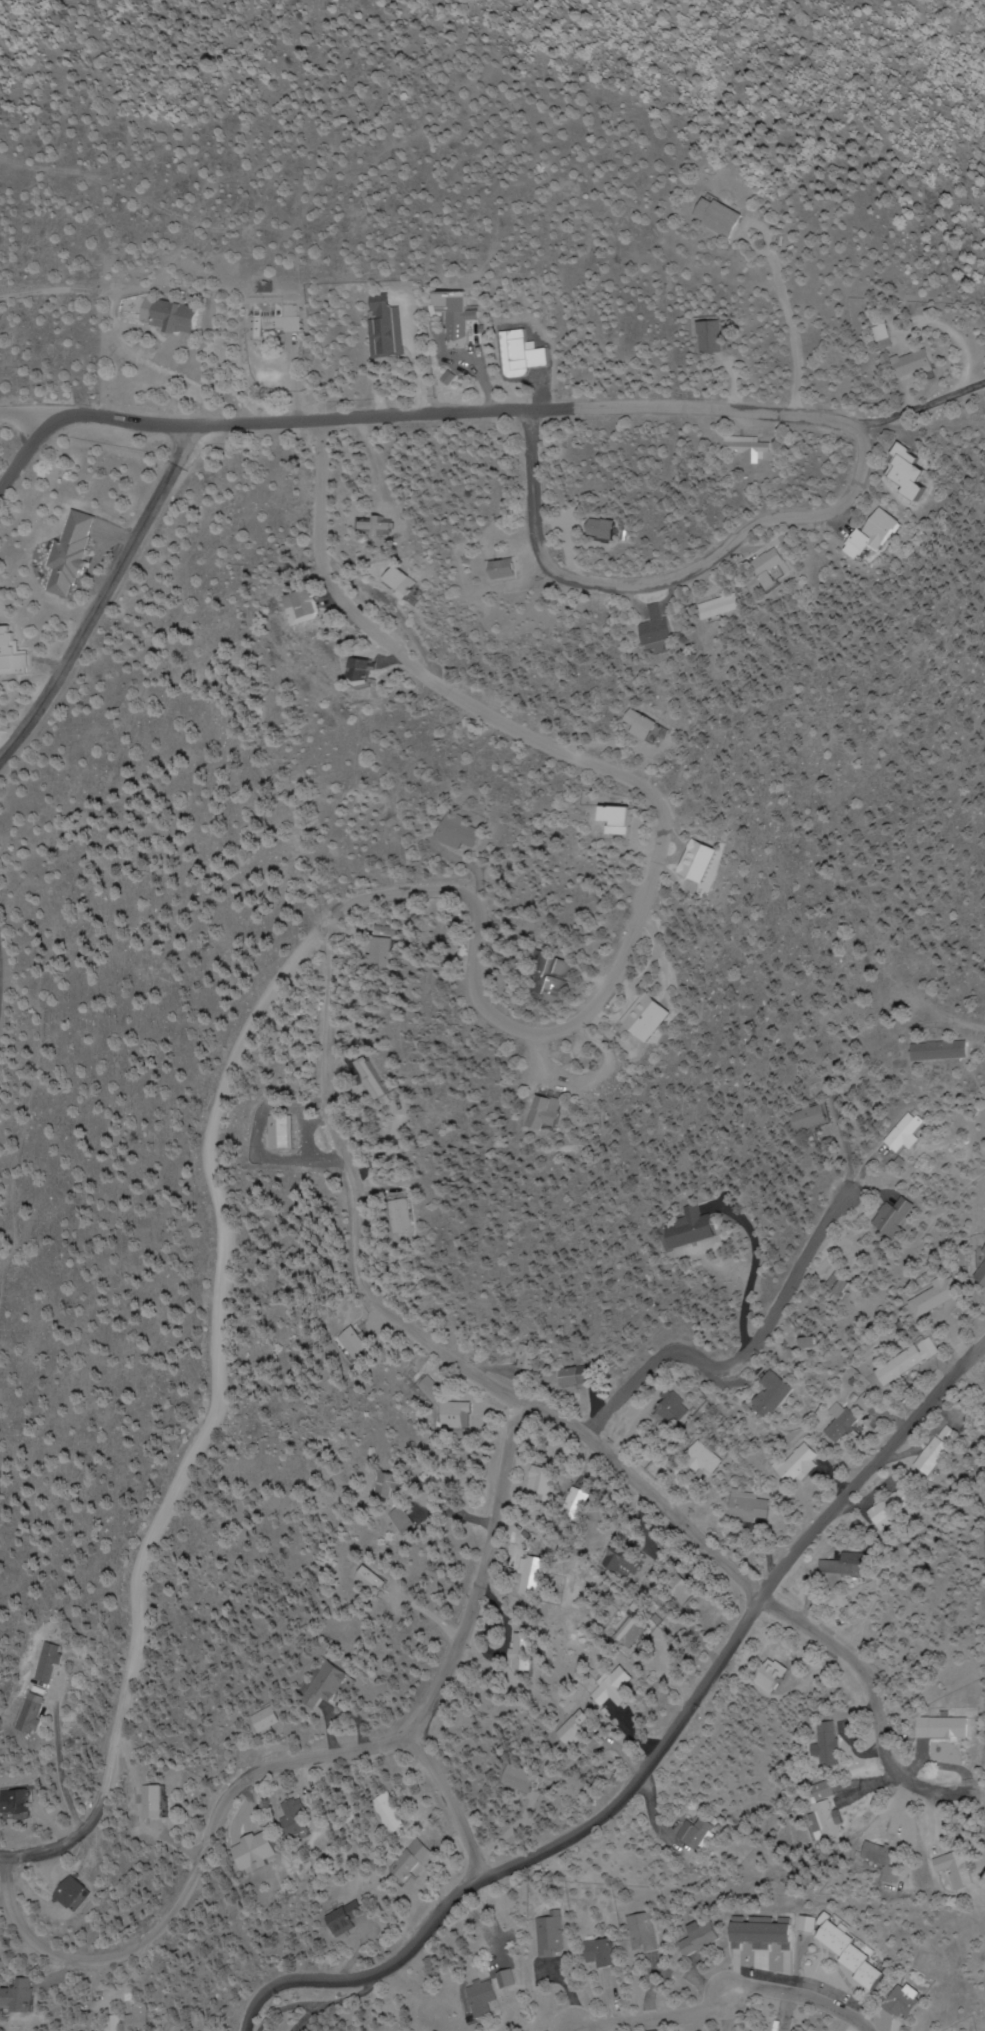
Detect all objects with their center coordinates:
building: (719, 218)
building: (271, 314)
building: (173, 316)
building: (458, 320)
building: (388, 330)
building: (875, 333)
building: (708, 337)
road: (795, 339)
building: (903, 365)
road: (452, 412)
road: (25, 415)
road: (25, 447)
building: (748, 448)
building: (894, 473)
building: (869, 529)
building: (603, 530)
building: (775, 566)
building: (507, 569)
road: (665, 579)
building: (405, 583)
road: (102, 595)
building: (313, 604)
building: (726, 607)
building: (663, 627)
building: (13, 652)
building: (368, 669)
building: (647, 725)
building: (620, 820)
building: (463, 832)
road: (365, 901)
building: (379, 952)
building: (558, 978)
building: (655, 1016)
road: (967, 1025)
building: (942, 1051)
building: (370, 1072)
building: (556, 1112)
building: (815, 1117)
building: (281, 1132)
building: (905, 1134)
building: (898, 1217)
building: (402, 1219)
building: (699, 1228)
building: (983, 1275)
building: (841, 1284)
building: (937, 1296)
building: (355, 1343)
building: (818, 1343)
building: (531, 1358)
road: (738, 1360)
building: (907, 1362)
building: (582, 1375)
building: (431, 1390)
building: (775, 1394)
building: (671, 1411)
building: (456, 1414)
road: (552, 1420)
building: (842, 1426)
building: (950, 1435)
building: (704, 1459)
building: (797, 1464)
building: (542, 1481)
building: (389, 1485)
building: (579, 1499)
building: (748, 1506)
building: (892, 1509)
road: (490, 1517)
building: (621, 1561)
building: (849, 1564)
building: (532, 1576)
building: (378, 1581)
building: (525, 1646)
building: (50, 1662)
road: (445, 1668)
building: (772, 1678)
building: (329, 1685)
building: (617, 1689)
building: (32, 1715)
building: (269, 1719)
building: (943, 1728)
building: (576, 1729)
building: (826, 1745)
road: (657, 1755)
road: (59, 1772)
building: (524, 1780)
building: (151, 1802)
building: (23, 1804)
road: (447, 1805)
building: (389, 1815)
building: (295, 1816)
building: (820, 1821)
building: (701, 1836)
building: (258, 1853)
building: (879, 1855)
road: (1, 1857)
building: (408, 1860)
road: (196, 1863)
building: (956, 1870)
building: (80, 1895)
building: (347, 1919)
building: (640, 1934)
building: (767, 1934)
building: (546, 1935)
building: (702, 1940)
building: (598, 1955)
building: (858, 1958)
building: (506, 1980)
road: (735, 1996)
building: (28, 1998)
building: (482, 1999)
building: (908, 2003)
building: (145, 2019)
building: (121, 2025)

